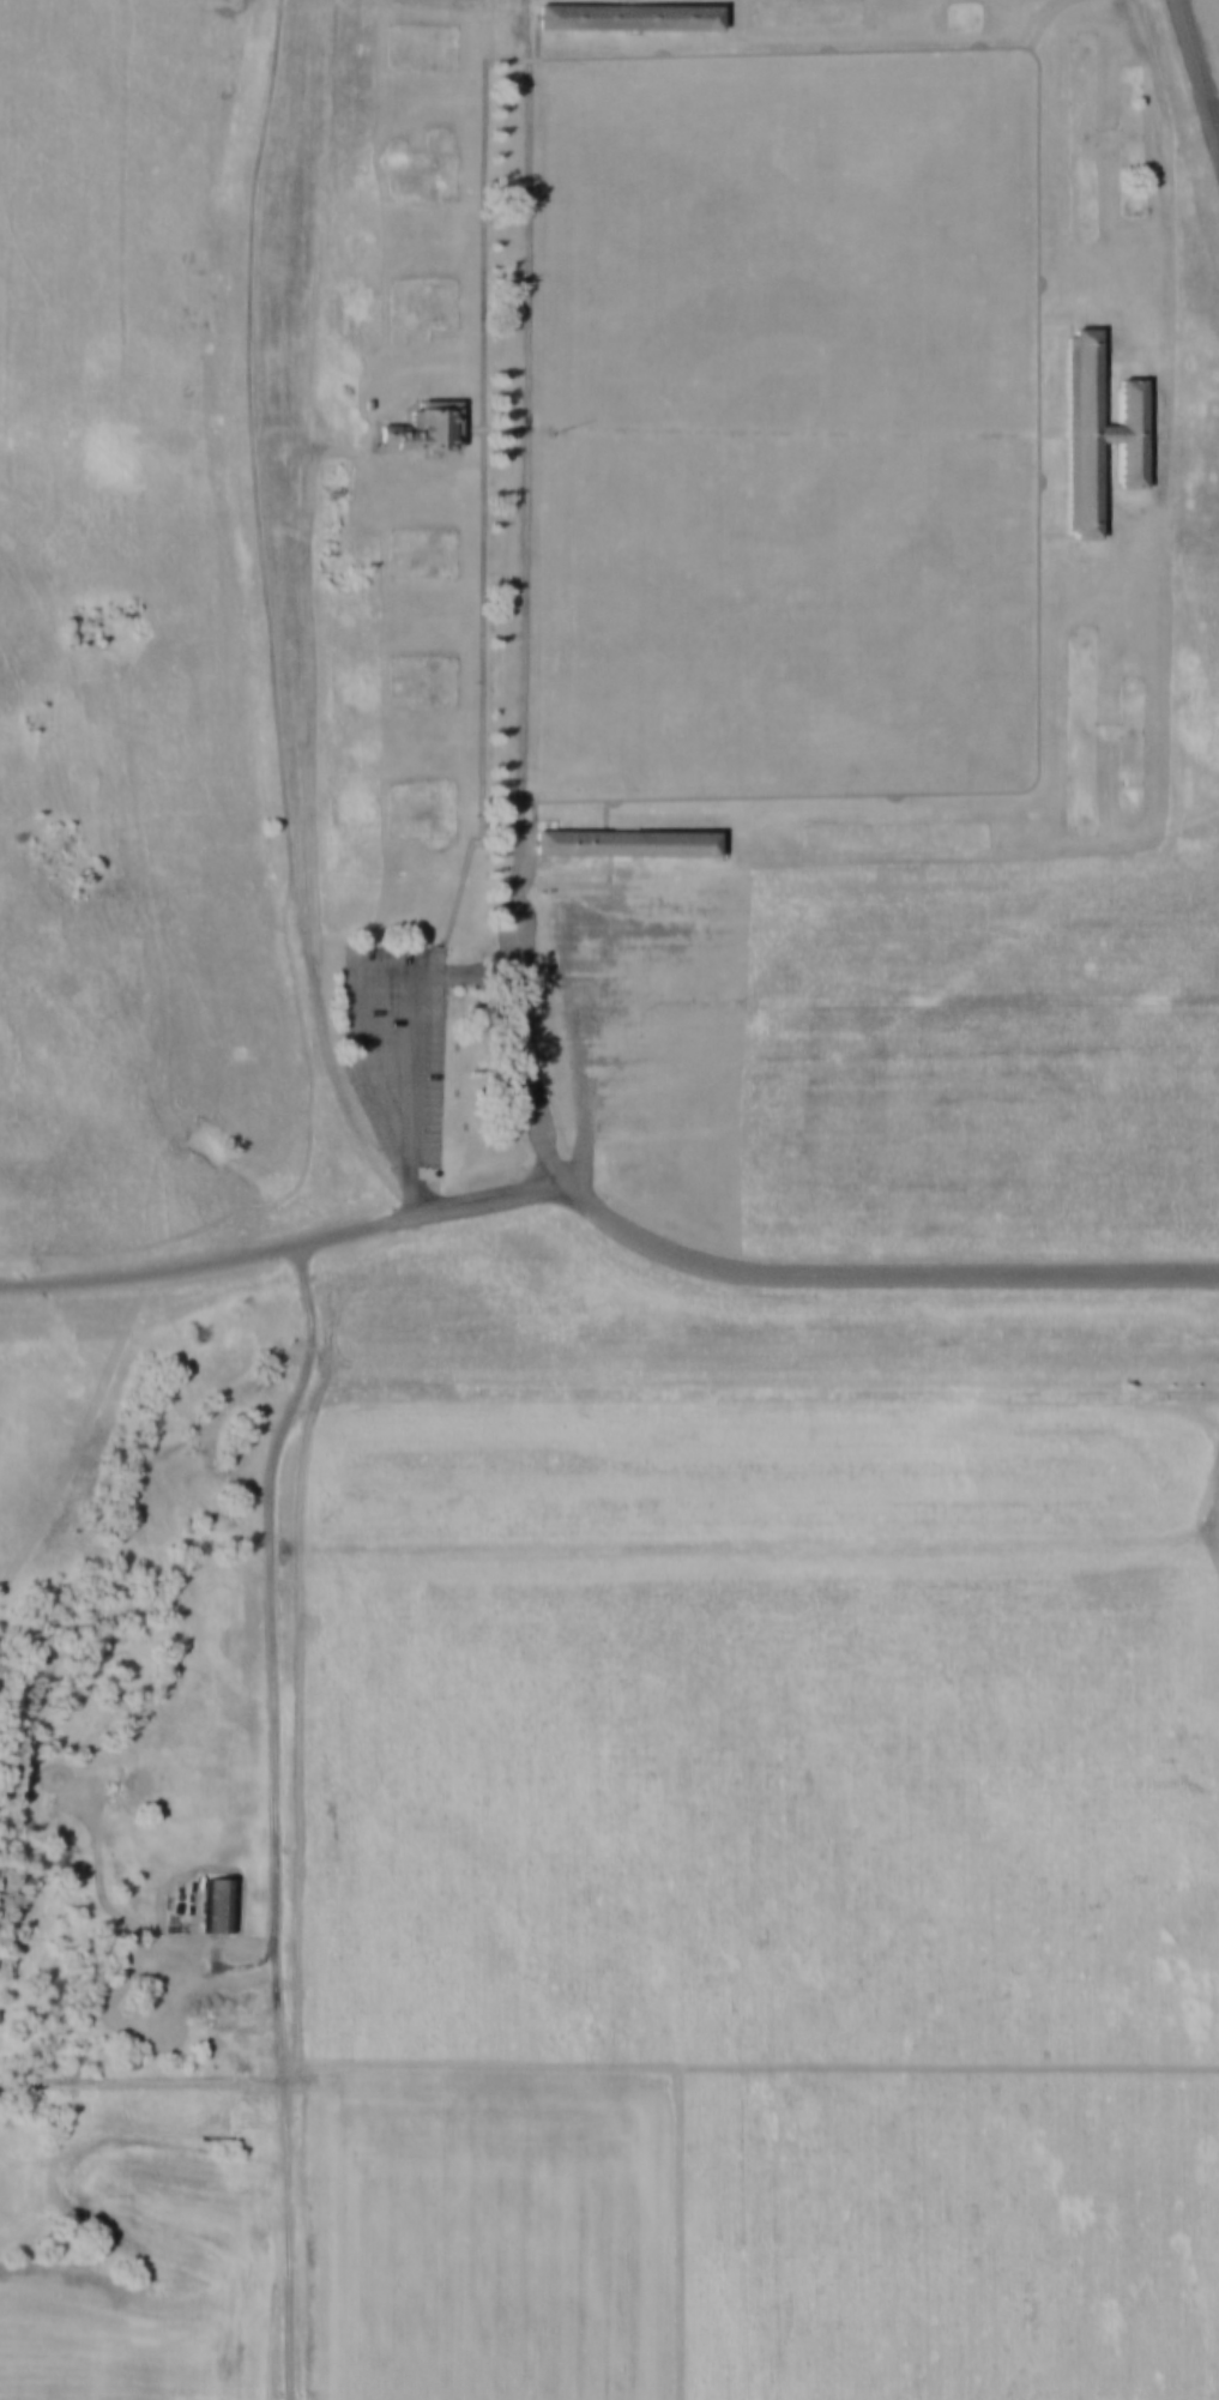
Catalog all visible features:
building: (623, 16)
road: (484, 29)
road: (1028, 50)
road: (1199, 68)
building: (420, 424)
road: (759, 429)
building: (1094, 433)
park: (609, 663)
building: (618, 840)
road: (520, 1038)
parking lot: (394, 1061)
road: (604, 1218)
road: (603, 1230)
road: (273, 1440)
building: (218, 1904)
building: (237, 2001)

